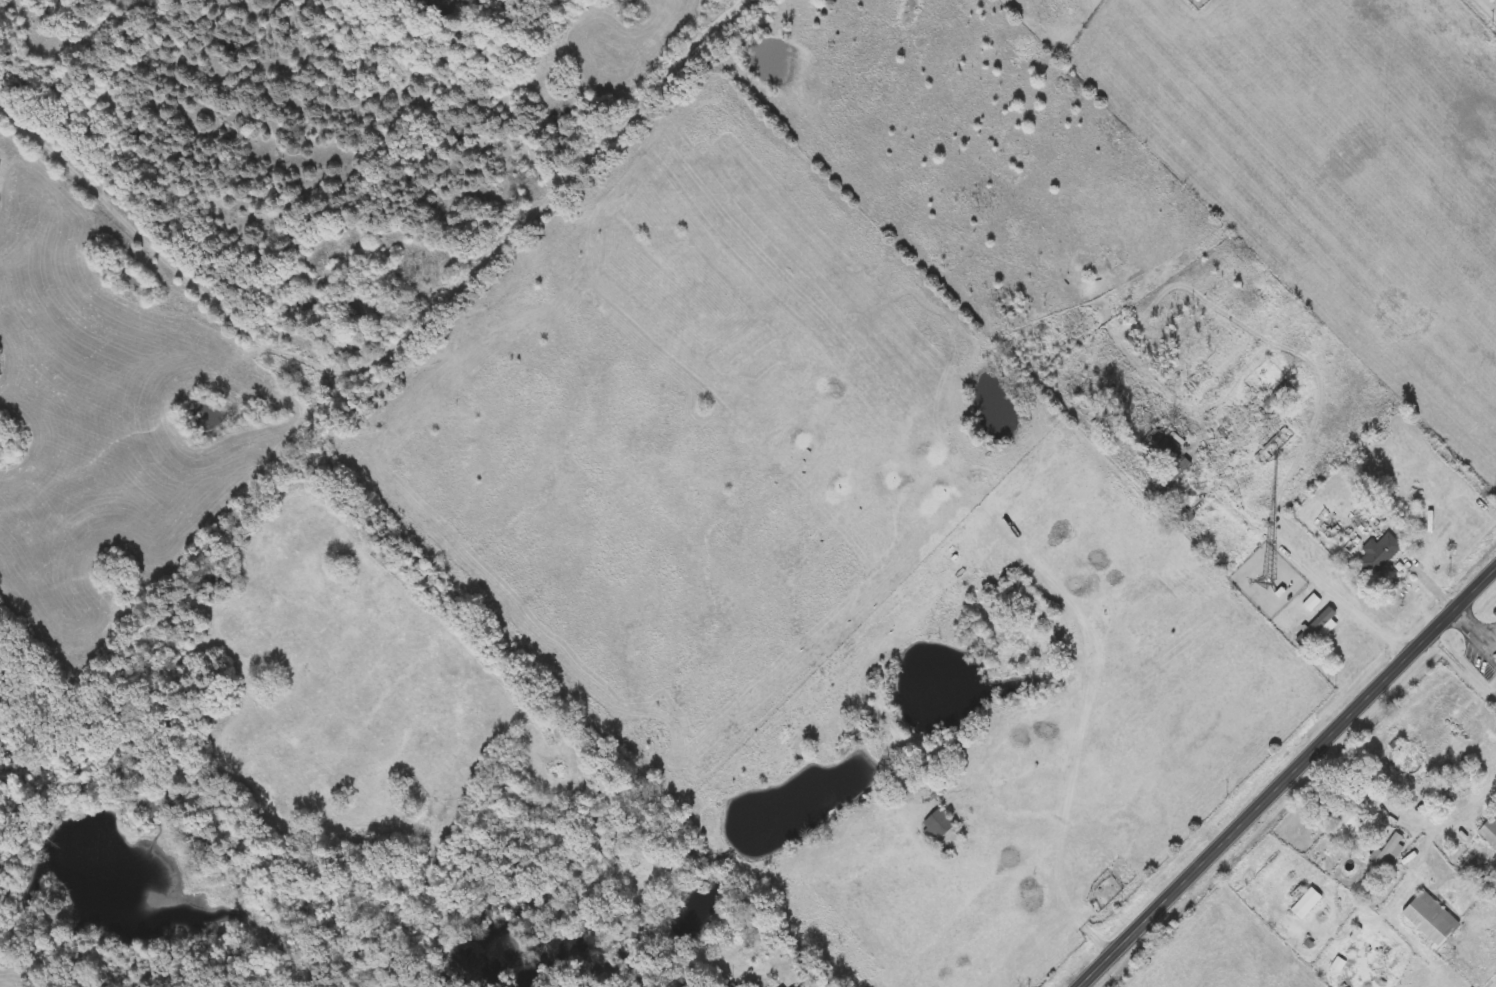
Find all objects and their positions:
road: (1490, 5)
road: (557, 186)
building: (347, 352)
building: (1279, 394)
building: (1158, 447)
building: (1174, 476)
building: (1181, 515)
road: (1287, 548)
building: (1380, 554)
road: (1434, 580)
road: (1475, 621)
building: (1315, 628)
road: (1464, 664)
road: (1291, 777)
building: (938, 825)
building: (1346, 829)
building: (1489, 831)
road: (1046, 884)
building: (1306, 904)
road: (1341, 906)
building: (1431, 919)
road: (1432, 971)

